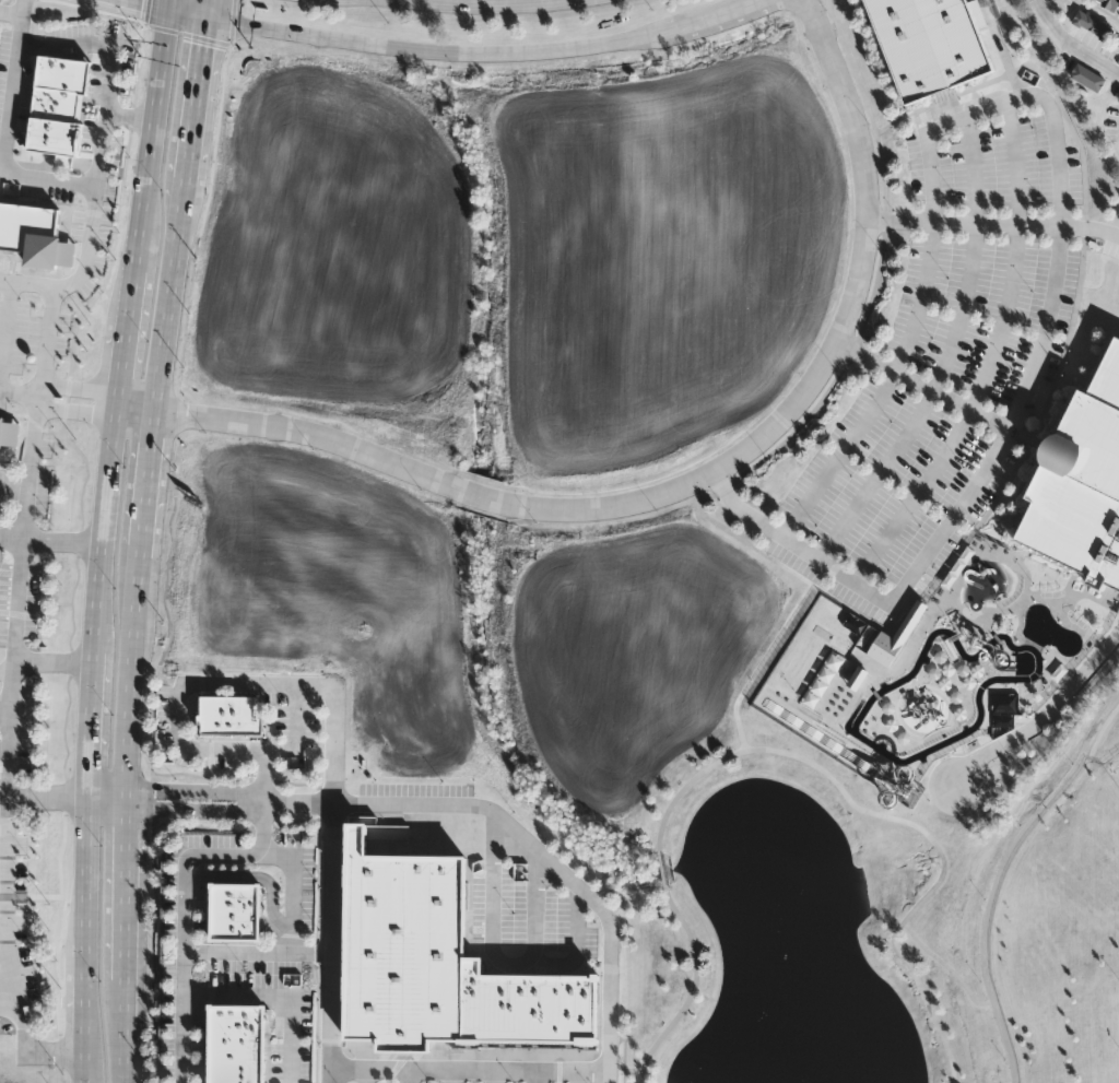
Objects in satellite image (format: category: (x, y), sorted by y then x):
traffic signals: (141, 1)
road: (154, 3)
building: (1111, 3)
road: (173, 4)
road: (491, 4)
road: (11, 12)
building: (1095, 26)
road: (1072, 43)
building: (931, 45)
traffic signals: (204, 48)
road: (463, 50)
road: (114, 70)
building: (1088, 79)
road: (1039, 97)
building: (58, 105)
road: (131, 116)
road: (8, 136)
road: (152, 138)
road: (996, 225)
building: (30, 232)
parking lot: (1110, 250)
road: (83, 272)
road: (126, 337)
road: (49, 341)
road: (945, 352)
road: (989, 357)
parking lot: (947, 358)
road: (924, 384)
road: (58, 397)
building: (1, 427)
building: (1081, 482)
road: (678, 486)
road: (103, 528)
road: (51, 537)
road: (138, 539)
road: (797, 544)
road: (19, 605)
building: (916, 617)
road: (54, 660)
road: (186, 687)
road: (5, 707)
road: (1043, 717)
building: (228, 720)
road: (90, 726)
road: (5, 749)
road: (792, 755)
river: (890, 755)
road: (10, 774)
road: (195, 792)
road: (4, 799)
road: (48, 800)
road: (105, 800)
road: (298, 804)
road: (1049, 804)
road: (193, 812)
road: (85, 854)
road: (551, 862)
road: (9, 896)
road: (186, 908)
road: (293, 910)
building: (235, 913)
road: (333, 937)
road: (5, 946)
building: (402, 946)
road: (239, 951)
road: (949, 969)
road: (84, 982)
road: (994, 989)
road: (12, 992)
road: (280, 998)
building: (529, 1008)
building: (237, 1044)
road: (32, 1045)
road: (84, 1070)
road: (472, 1072)
road: (332, 1076)
road: (370, 1076)
road: (414, 1076)
road: (457, 1078)
road: (498, 1078)
road: (539, 1078)
road: (586, 1078)
road: (610, 1079)

